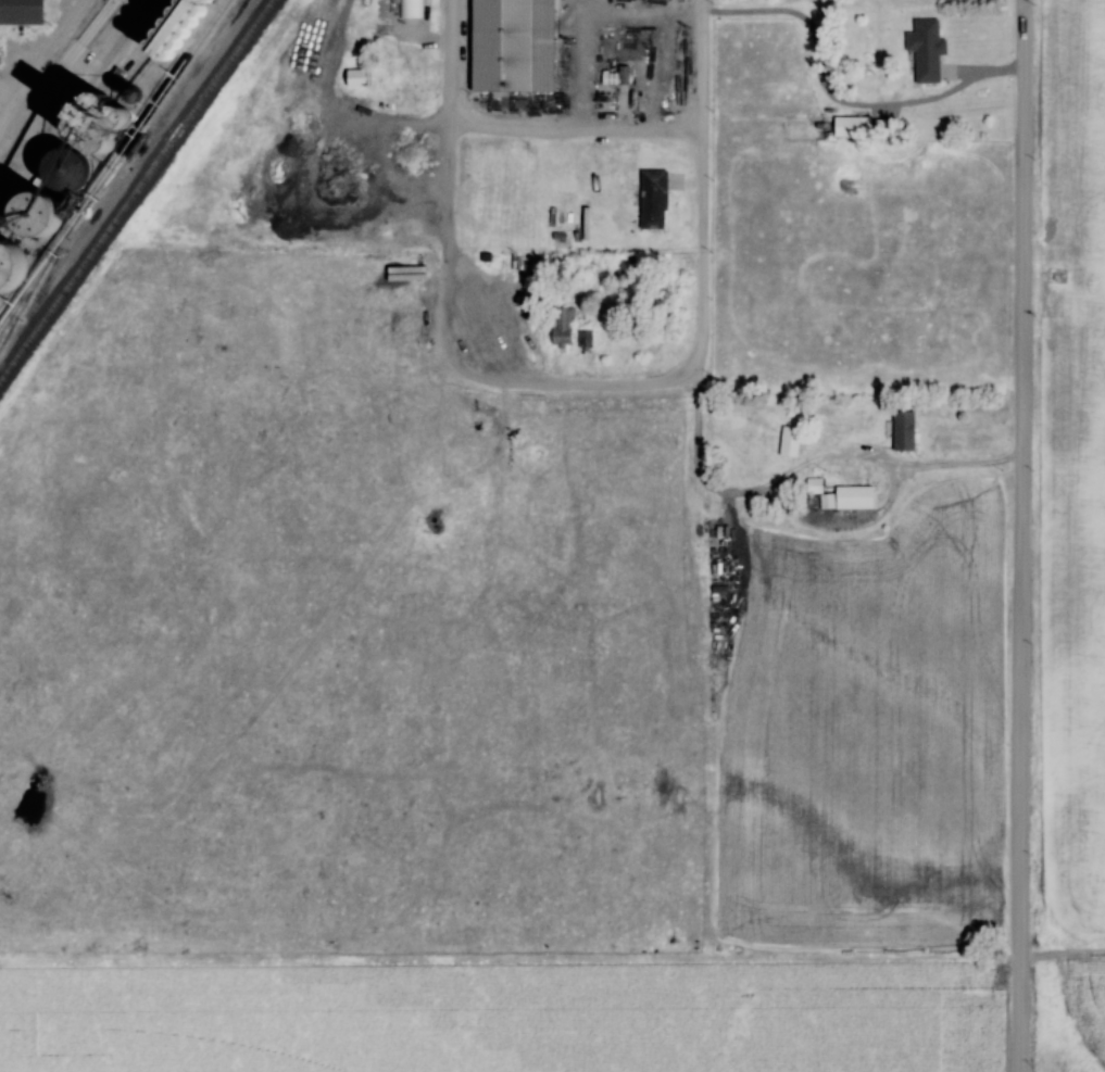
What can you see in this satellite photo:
building: (411, 9)
building: (23, 12)
building: (181, 27)
silo: (181, 27)
building: (515, 45)
building: (928, 48)
road: (42, 62)
building: (109, 118)
silo: (109, 118)
building: (853, 126)
road: (578, 127)
road: (356, 130)
building: (72, 168)
silo: (72, 168)
road: (451, 174)
building: (501, 180)
railway: (130, 182)
building: (654, 198)
road: (703, 200)
building: (45, 212)
silo: (45, 212)
building: (16, 262)
silo: (16, 262)
building: (0, 312)
silo: (0, 312)
building: (565, 325)
road: (554, 388)
building: (906, 429)
building: (791, 441)
road: (944, 467)
crop: (1078, 476)
building: (816, 484)
building: (856, 496)
road: (1026, 535)
crop: (495, 1047)

